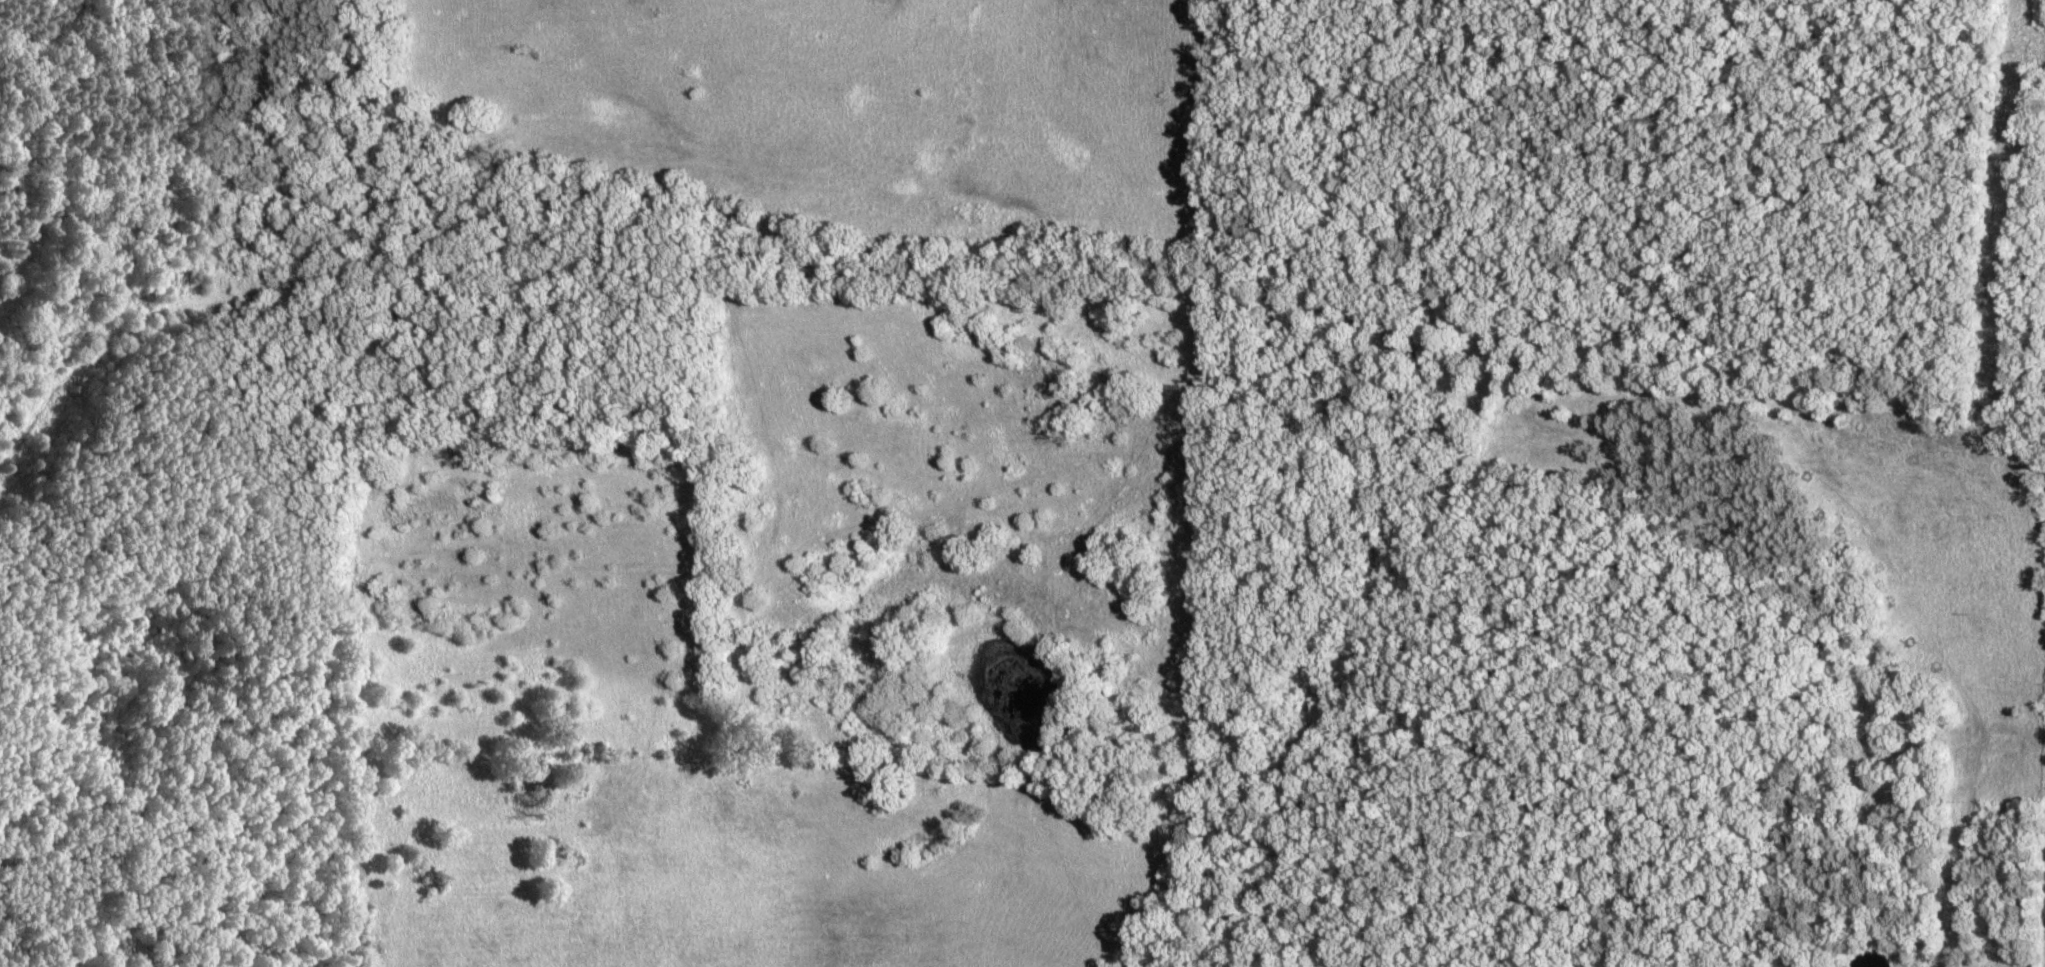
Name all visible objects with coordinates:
road: (2043, 861)

